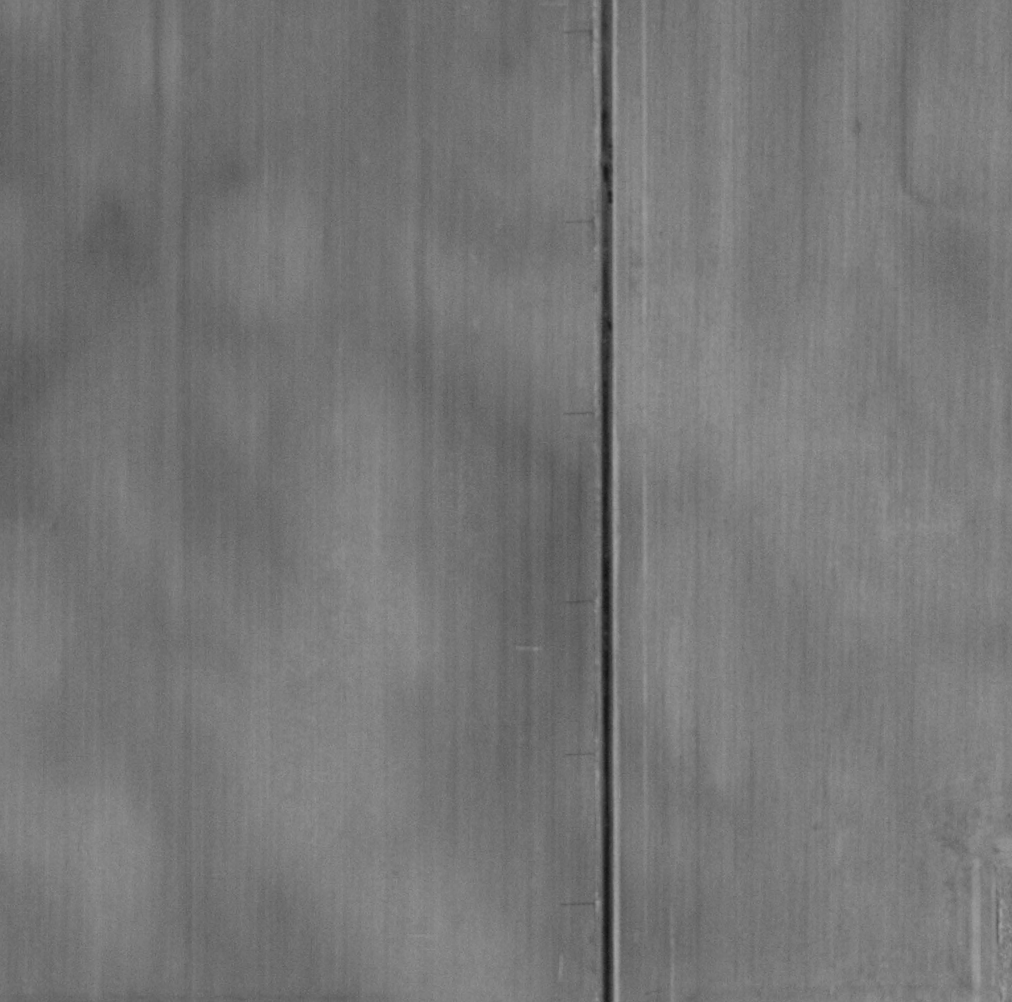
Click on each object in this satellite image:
road: (604, 501)

